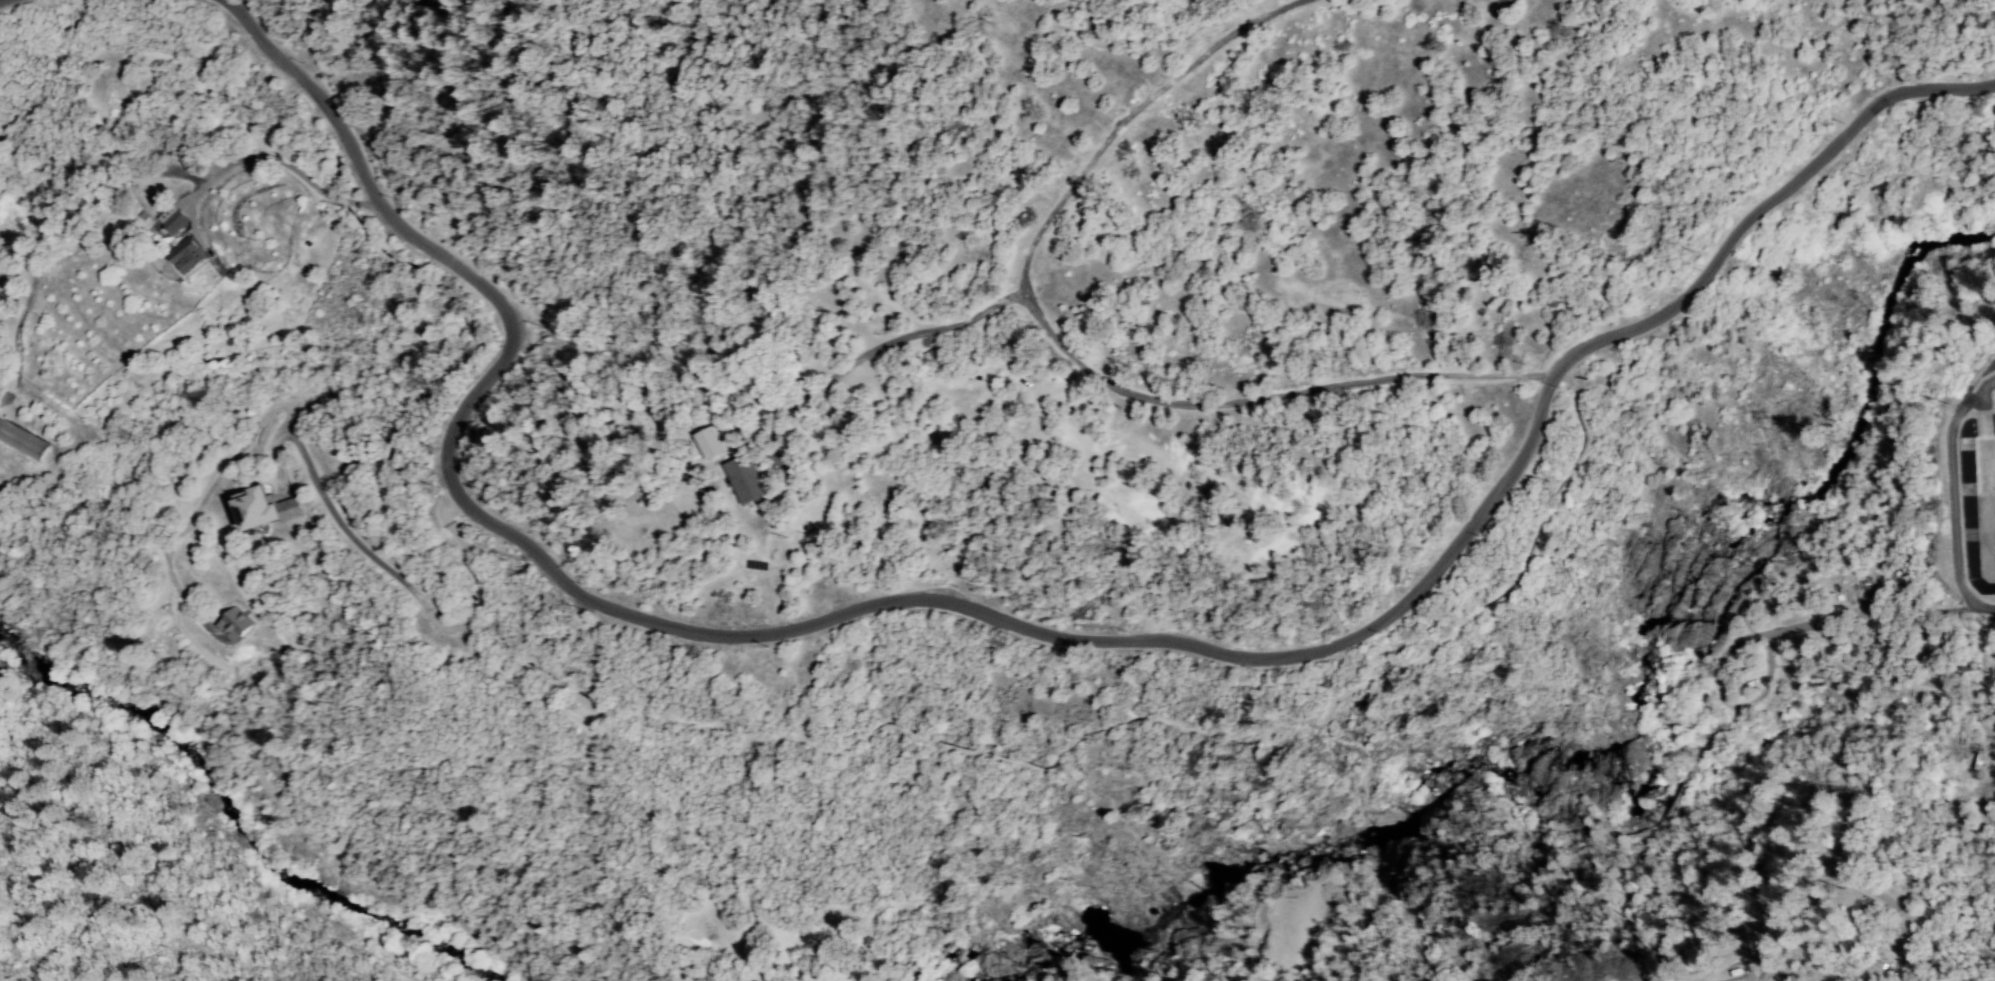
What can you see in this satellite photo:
road: (284, 163)
building: (173, 219)
building: (187, 256)
road: (882, 345)
road: (1062, 346)
road: (290, 419)
building: (22, 442)
building: (745, 480)
building: (265, 510)
road: (463, 547)
road: (475, 612)
road: (1012, 623)
building: (235, 625)

